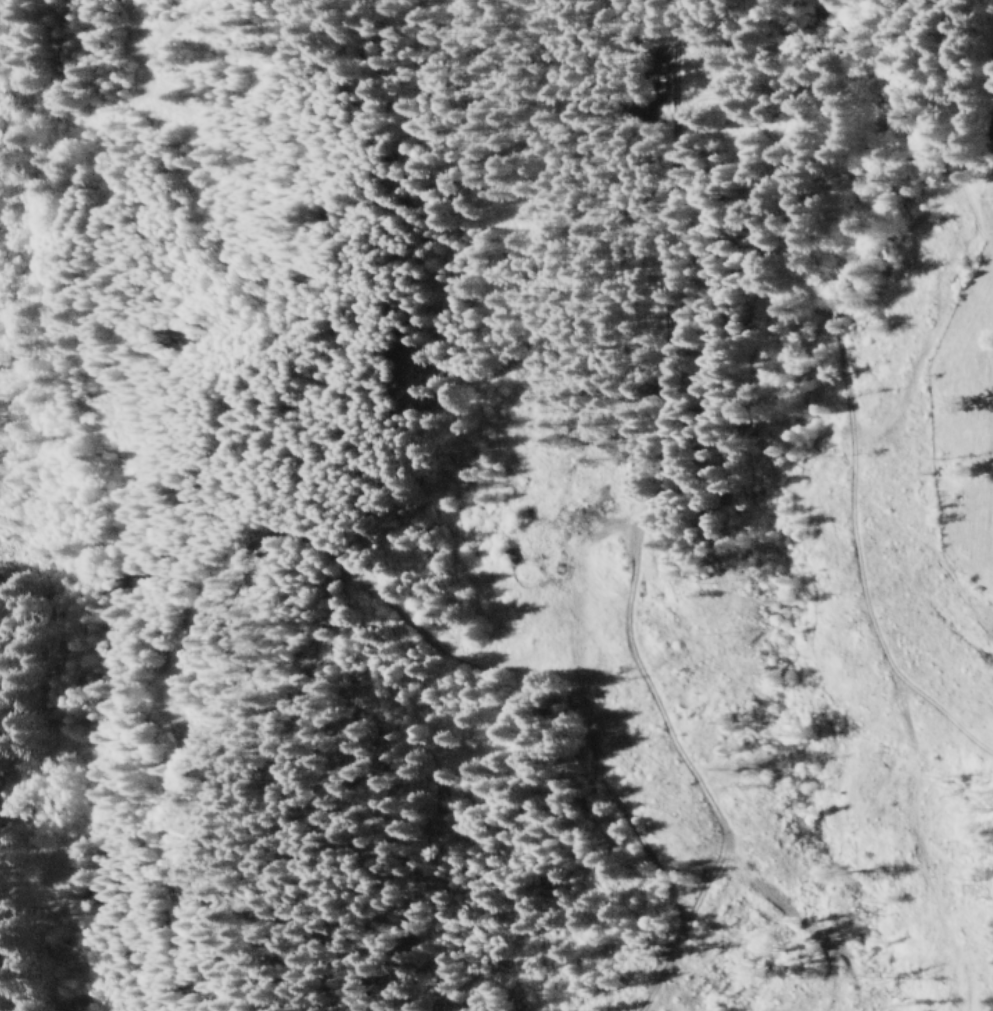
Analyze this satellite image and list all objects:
road: (950, 38)
building: (990, 130)

